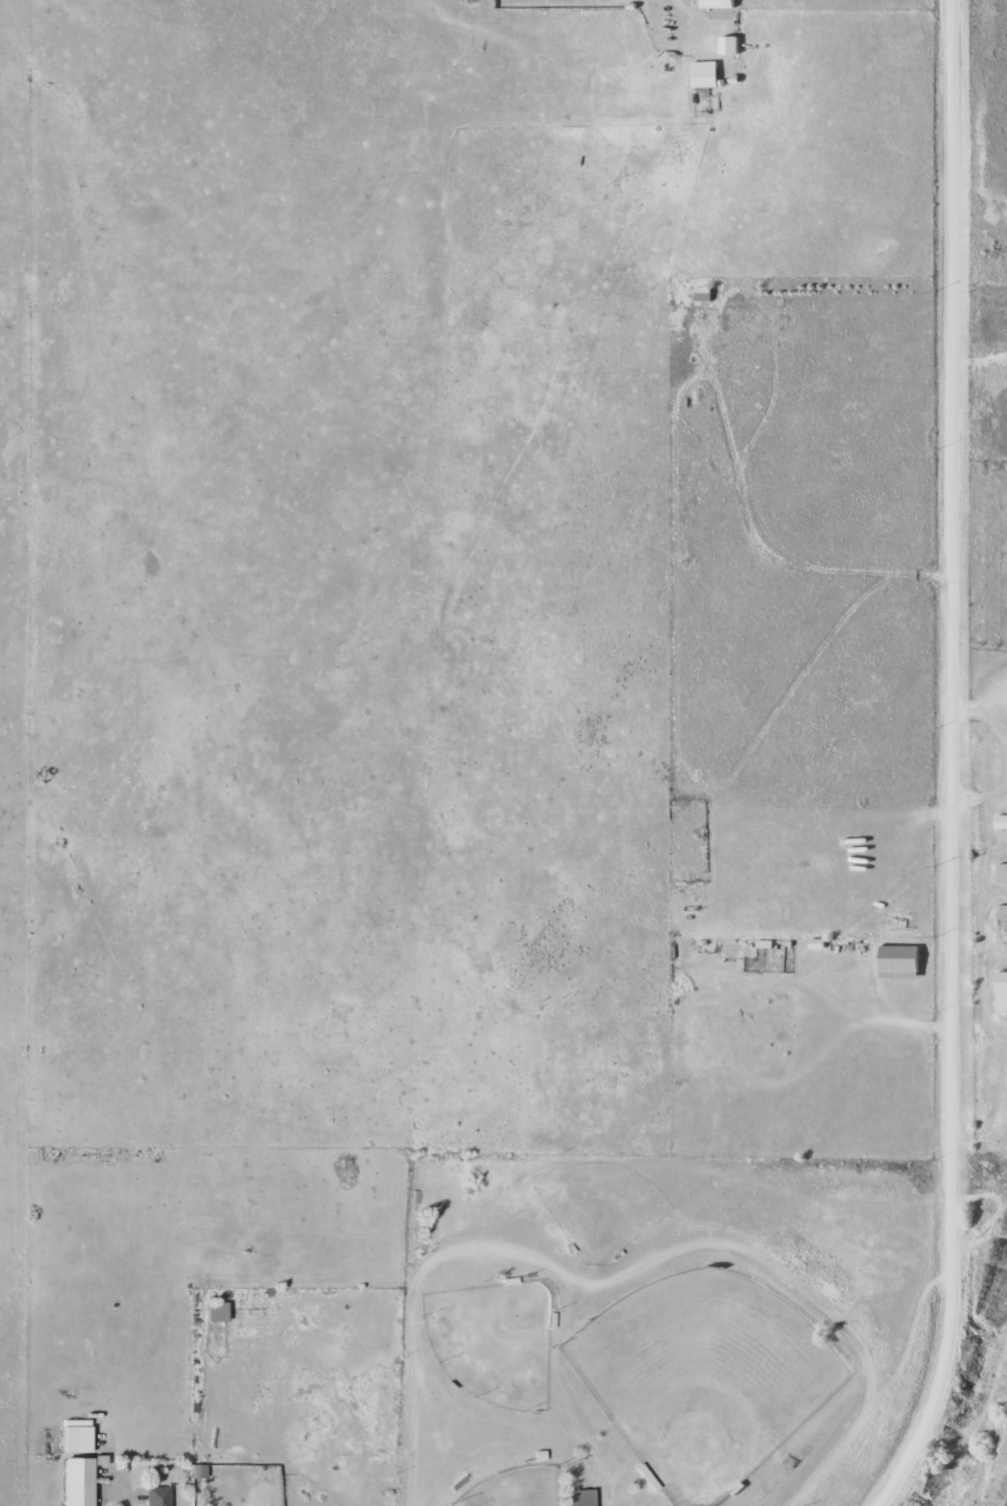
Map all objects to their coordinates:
building: (718, 3)
building: (729, 45)
building: (704, 74)
building: (703, 294)
road: (953, 760)
building: (1001, 822)
building: (1001, 873)
building: (1002, 911)
building: (1001, 991)
park: (598, 1206)
building: (218, 1311)
park: (491, 1342)
park: (702, 1378)
building: (77, 1435)
railway: (991, 1461)
building: (101, 1465)
building: (197, 1470)
building: (78, 1481)
park: (512, 1489)
building: (158, 1496)
building: (582, 1497)

